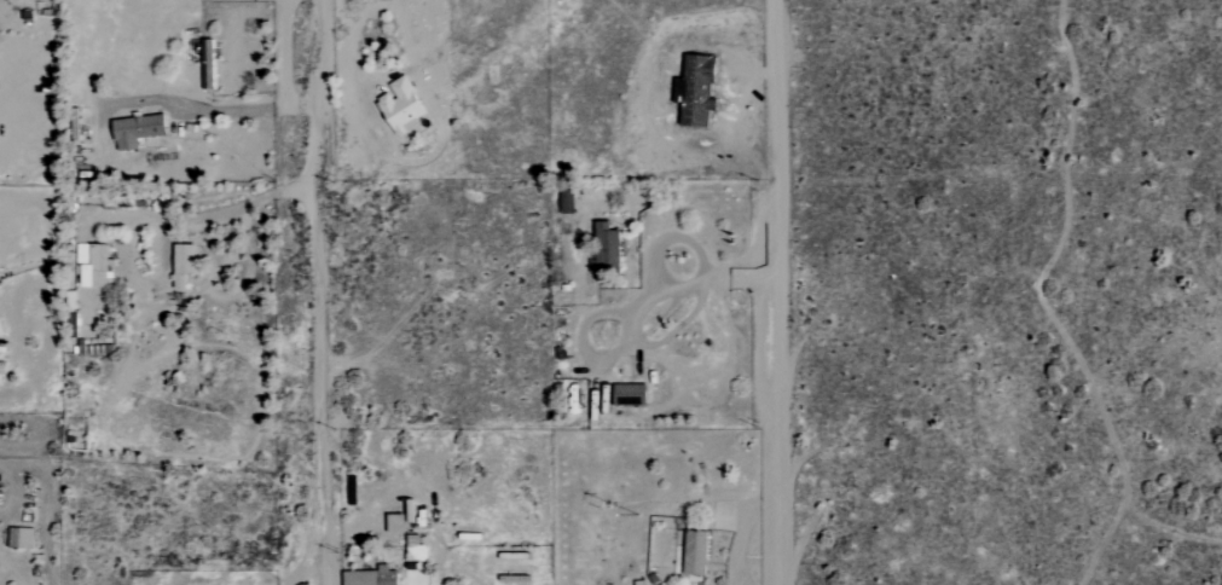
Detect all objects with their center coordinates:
building: (207, 64)
building: (399, 106)
road: (216, 110)
building: (134, 129)
road: (207, 214)
building: (604, 248)
building: (181, 263)
building: (91, 265)
road: (781, 291)
road: (314, 292)
road: (636, 306)
building: (393, 523)
building: (19, 538)
building: (412, 549)
building: (694, 552)
building: (369, 577)

